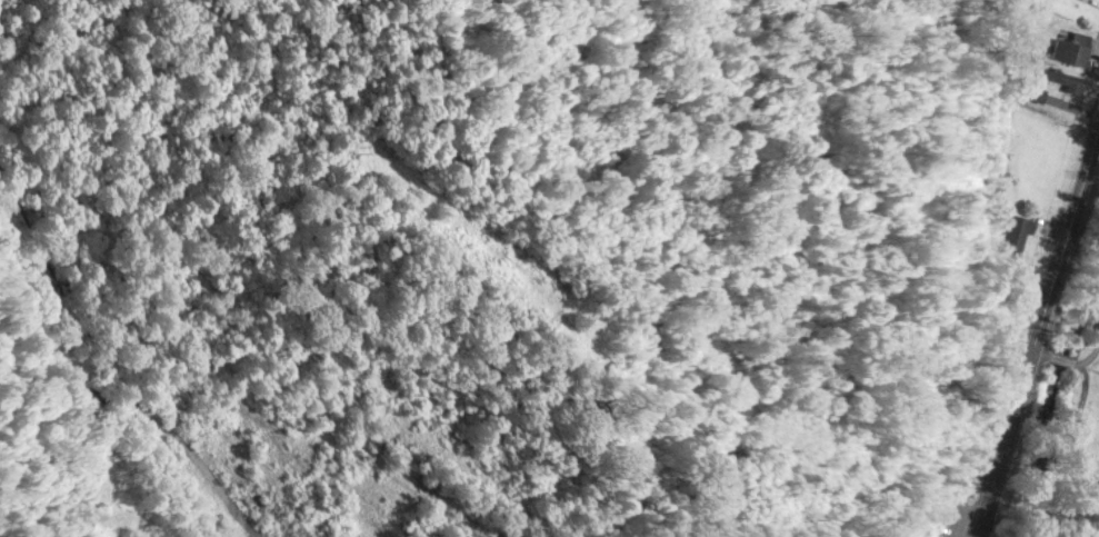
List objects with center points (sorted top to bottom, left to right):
building: (1072, 48)
building: (1063, 78)
building: (1032, 90)
building: (1015, 231)
road: (1041, 325)
road: (1092, 352)
road: (1086, 366)

